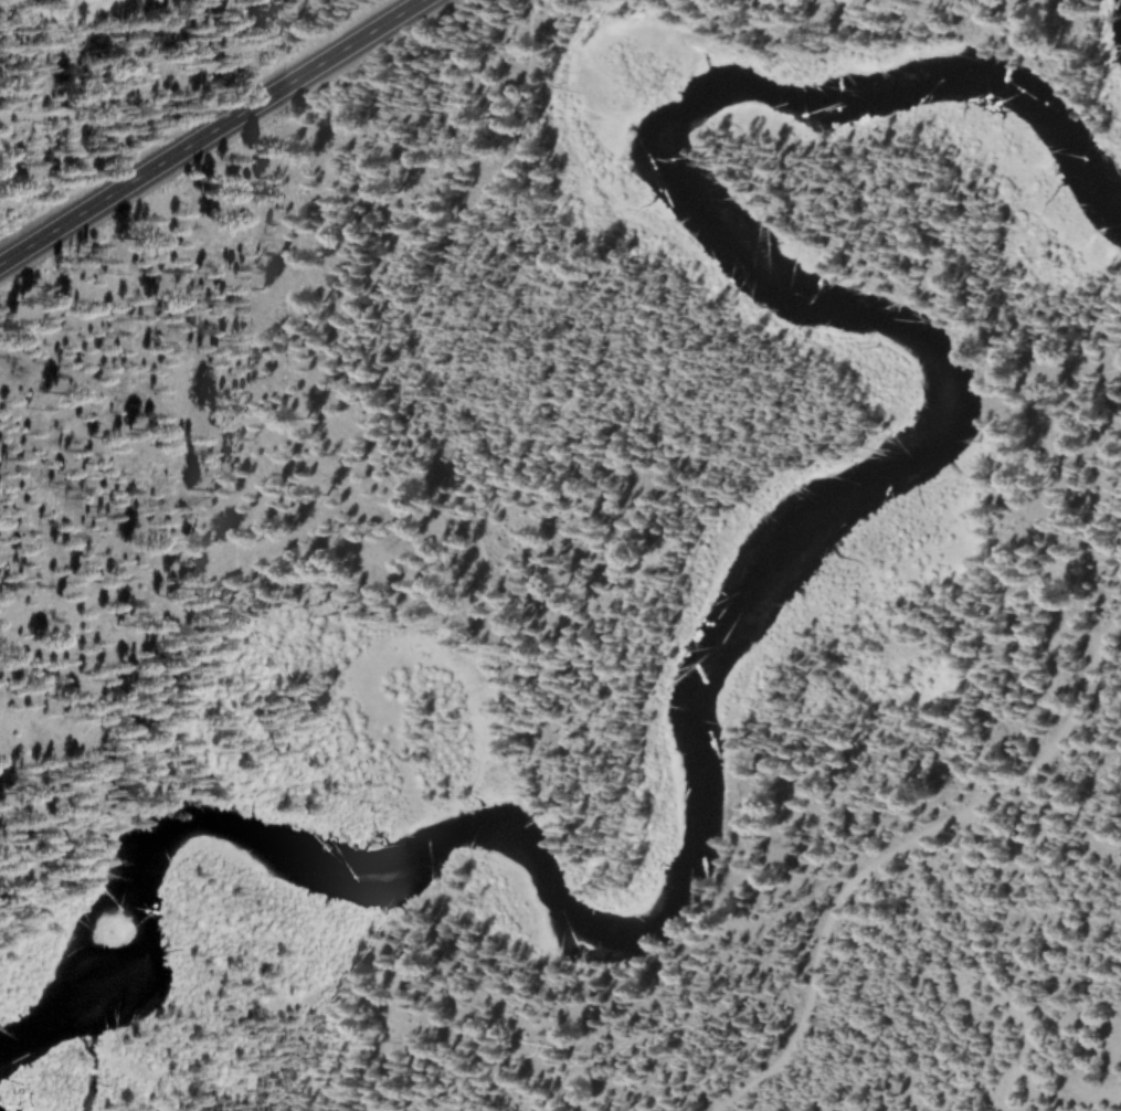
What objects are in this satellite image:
road: (212, 133)
river: (739, 582)
road: (923, 838)

